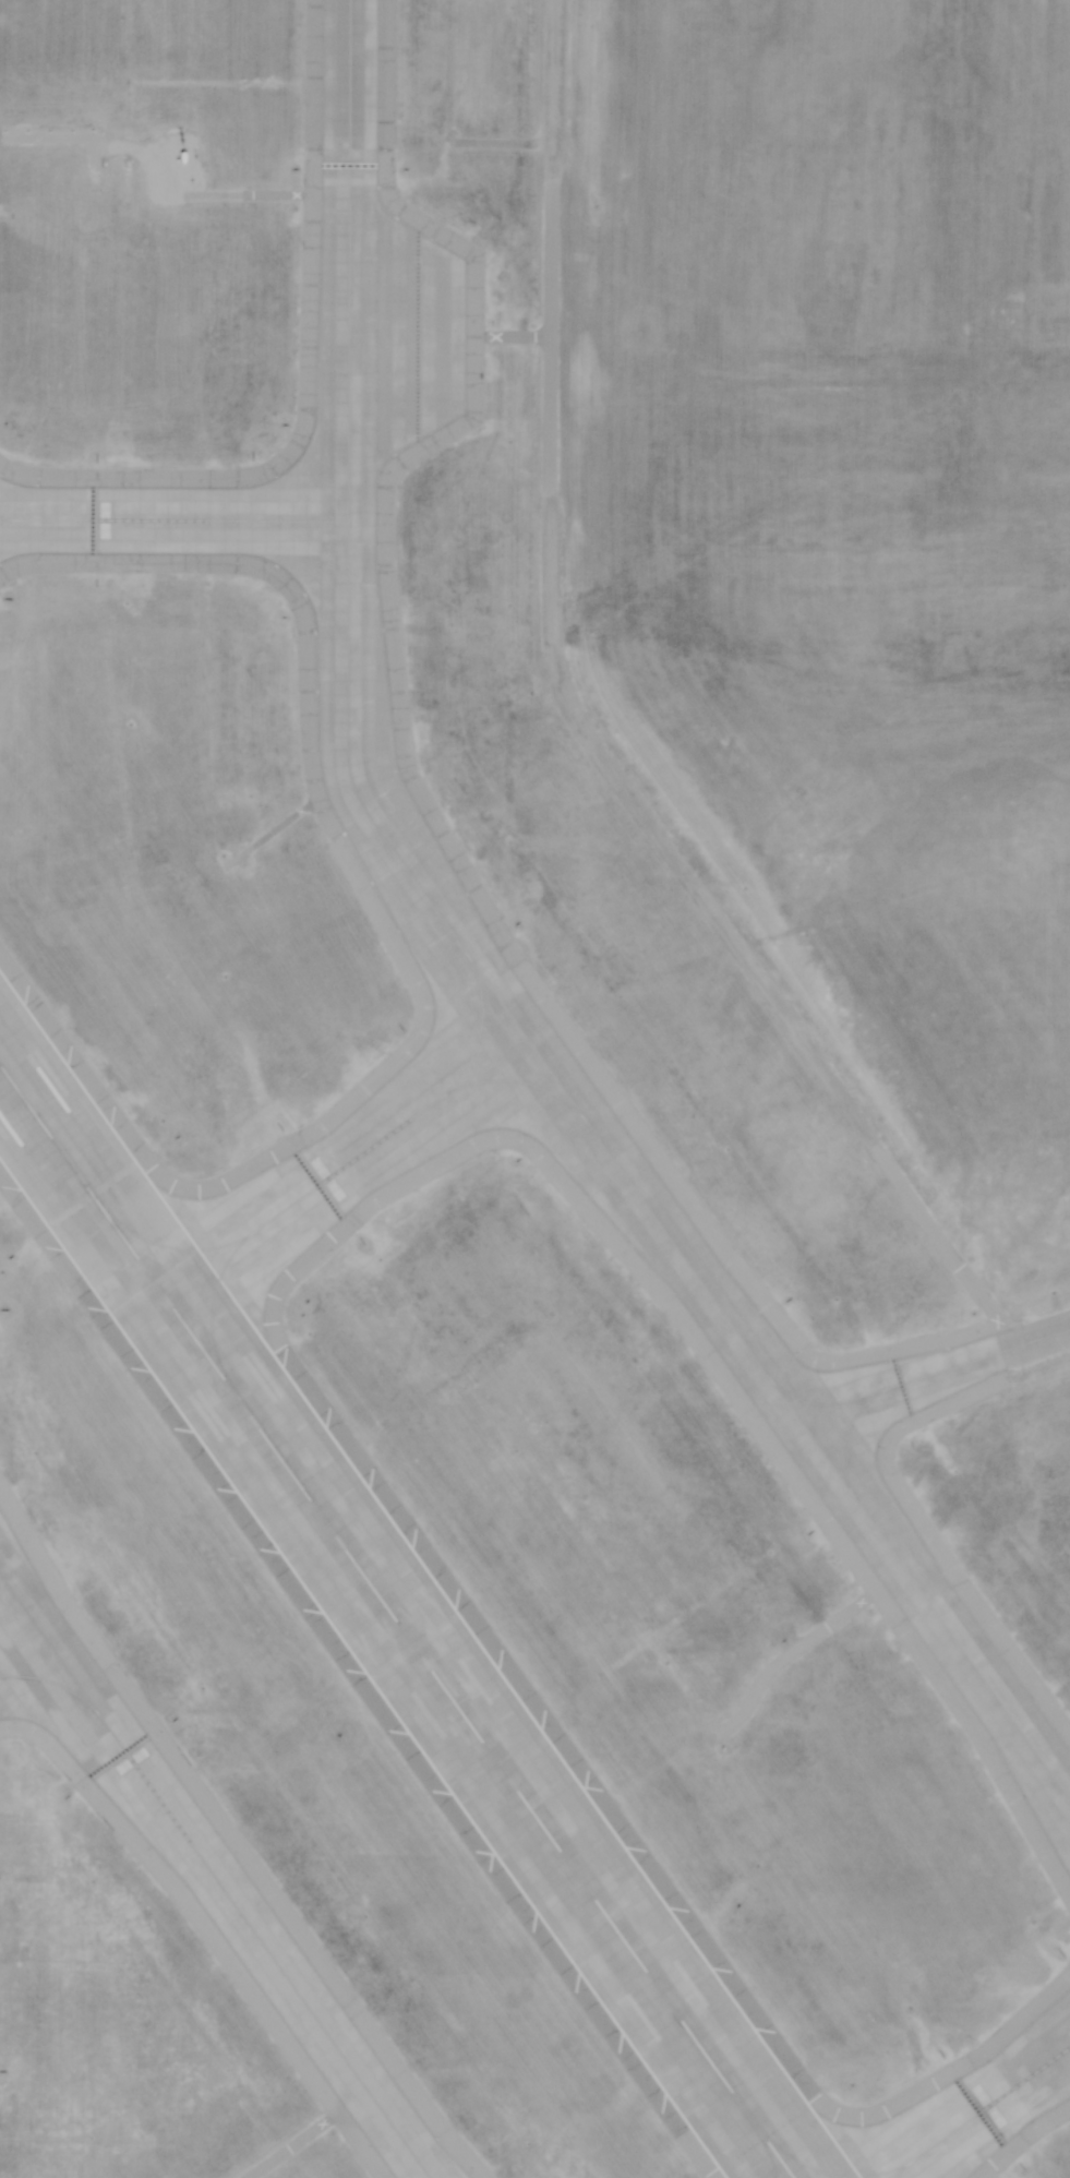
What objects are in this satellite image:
road: (168, 183)
road: (453, 334)
airport apron: (399, 336)
airport taxiway: (11, 520)
airport taxiway: (172, 520)
road: (587, 738)
airport taxiway: (481, 974)
airport taxiway: (503, 1080)
airport: (534, 1089)
airport taxiway: (344, 1165)
airport taxiway: (178, 1247)
road: (1042, 1336)
airport taxiway: (911, 1379)
airport taxiway: (808, 1403)
airport runway: (396, 1621)
airport taxiway: (51, 1682)
airport taxiway: (214, 1877)
airport taxiway: (979, 2113)
airport taxiway: (769, 2152)
airport taxiway: (907, 2168)
airport taxiway: (831, 2173)

